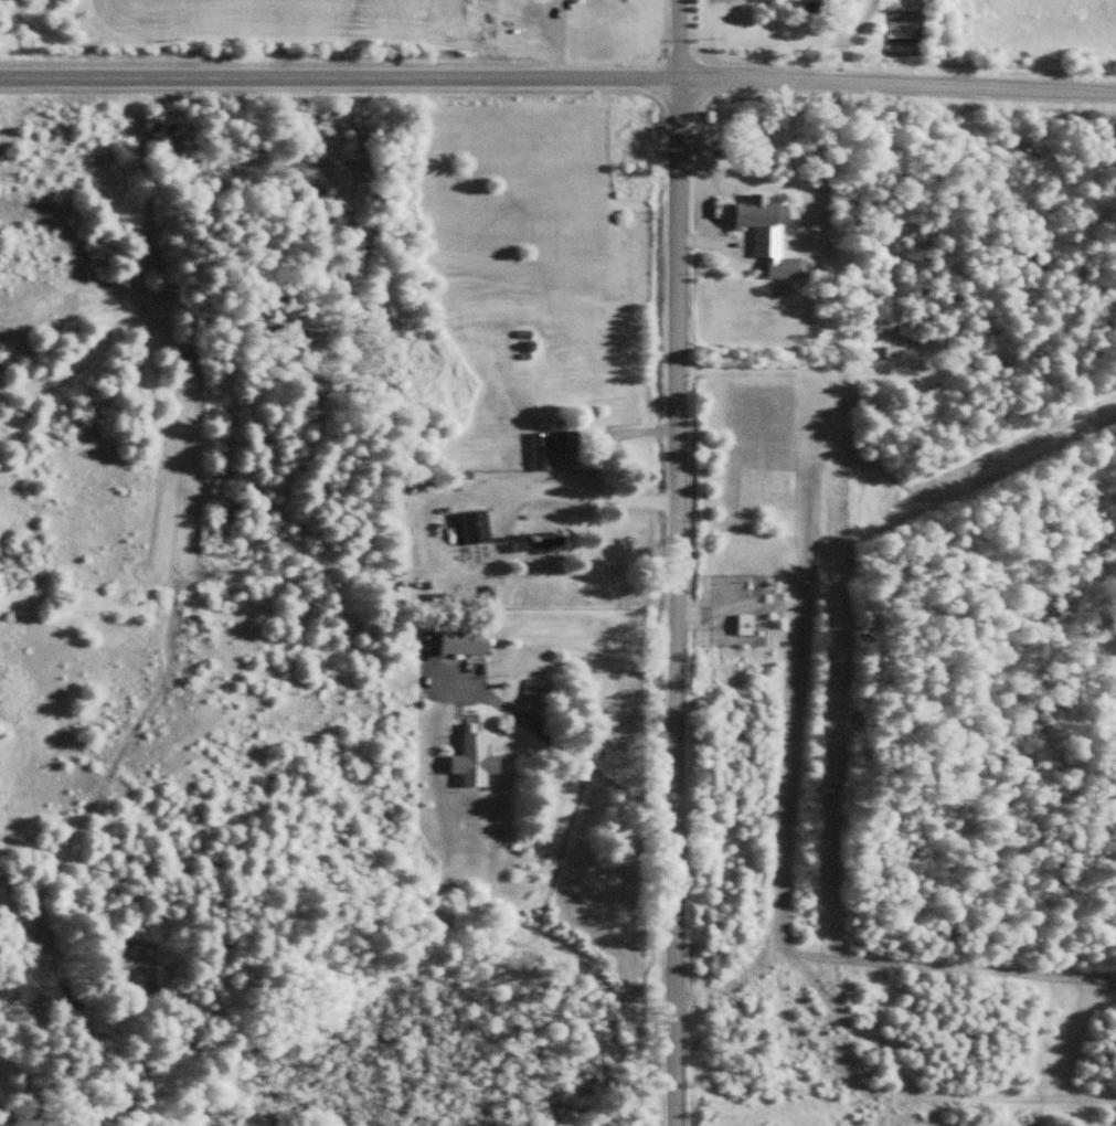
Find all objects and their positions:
building: (820, 1)
road: (832, 23)
road: (852, 24)
road: (832, 64)
road: (557, 76)
building: (768, 233)
building: (896, 352)
building: (553, 446)
building: (476, 527)
road: (676, 562)
building: (746, 625)
building: (468, 640)
building: (536, 690)
building: (477, 759)

